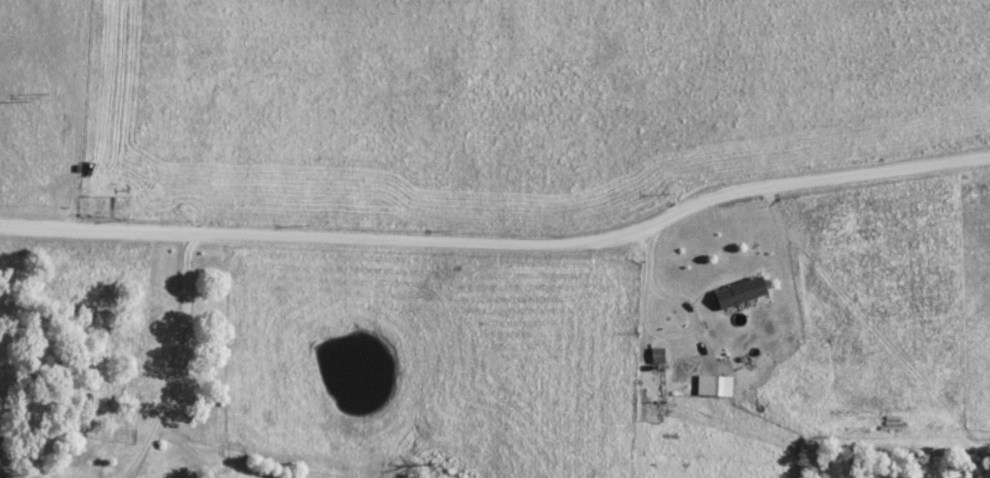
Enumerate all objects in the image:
road: (500, 246)
building: (740, 291)
road: (652, 336)
road: (182, 363)
building: (721, 385)

